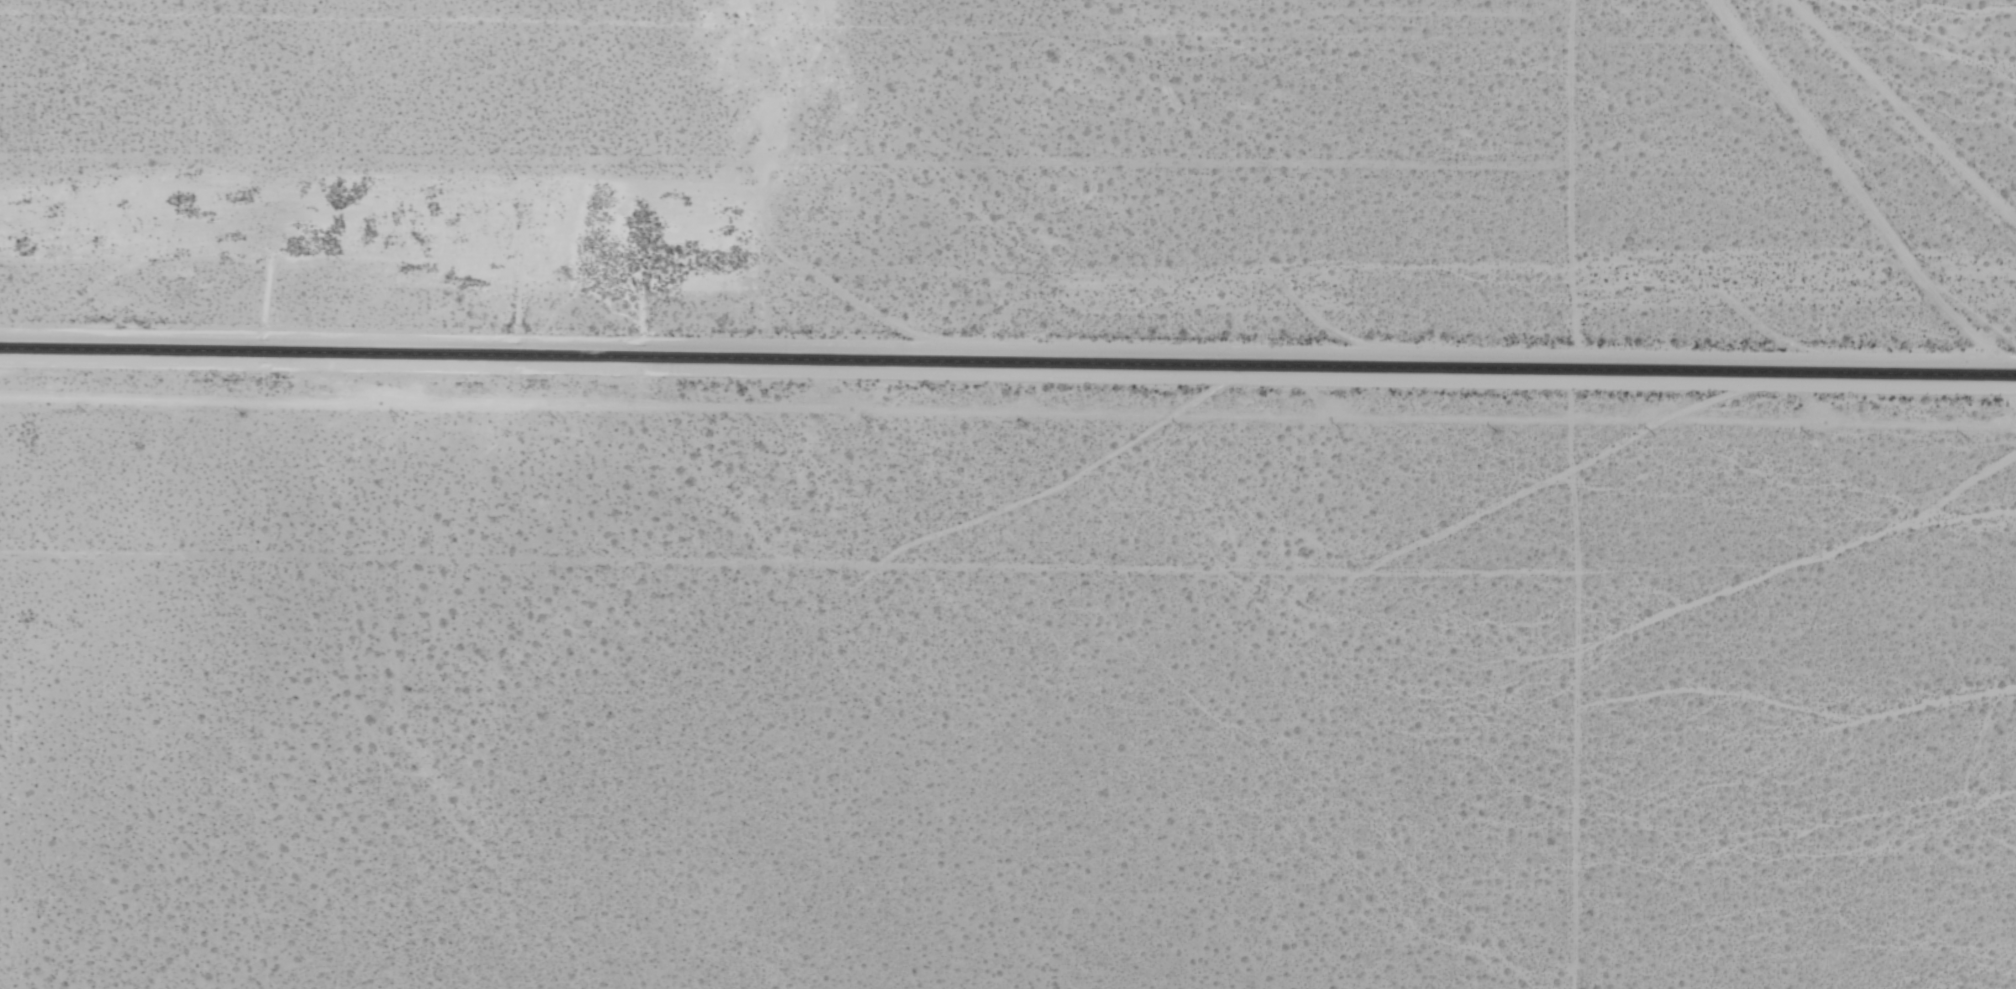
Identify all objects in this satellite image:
road: (786, 362)
road: (1794, 373)
road: (1572, 494)

